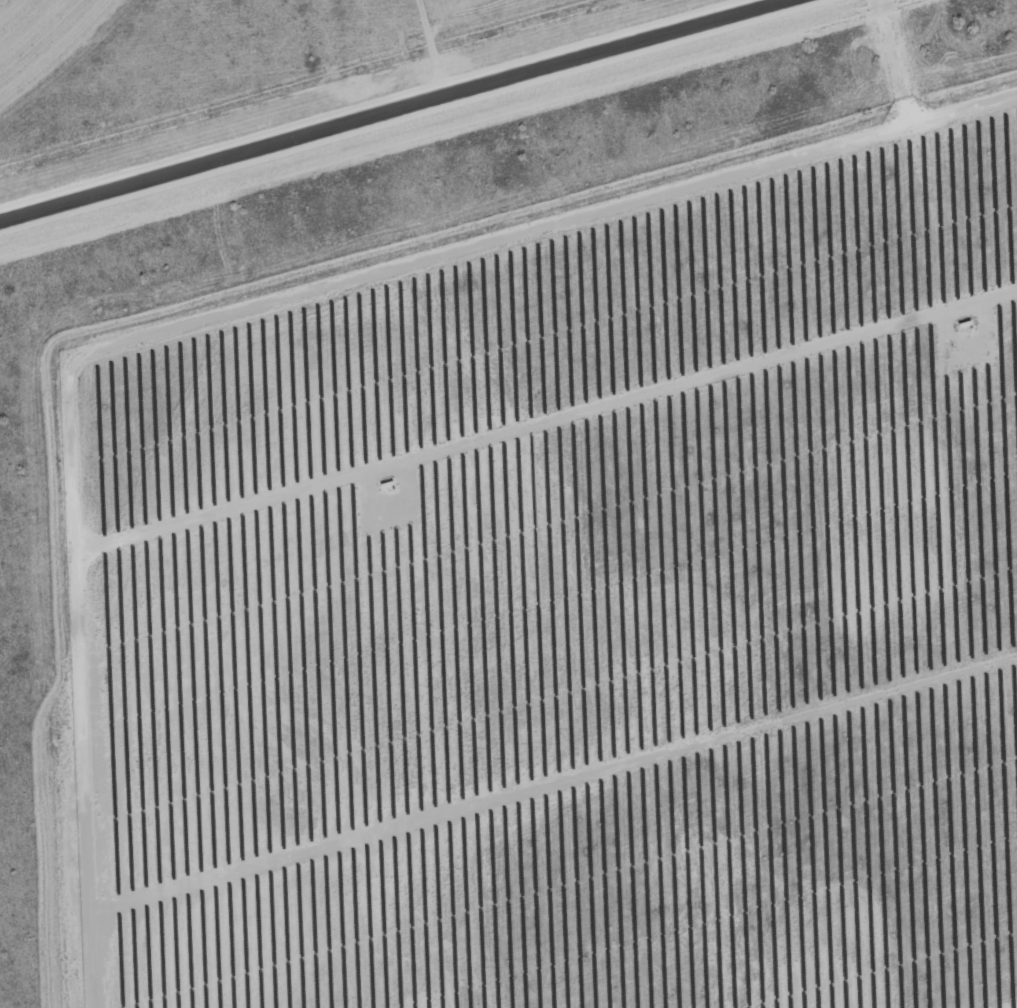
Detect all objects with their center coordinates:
road: (394, 111)
solar farm: (570, 605)

